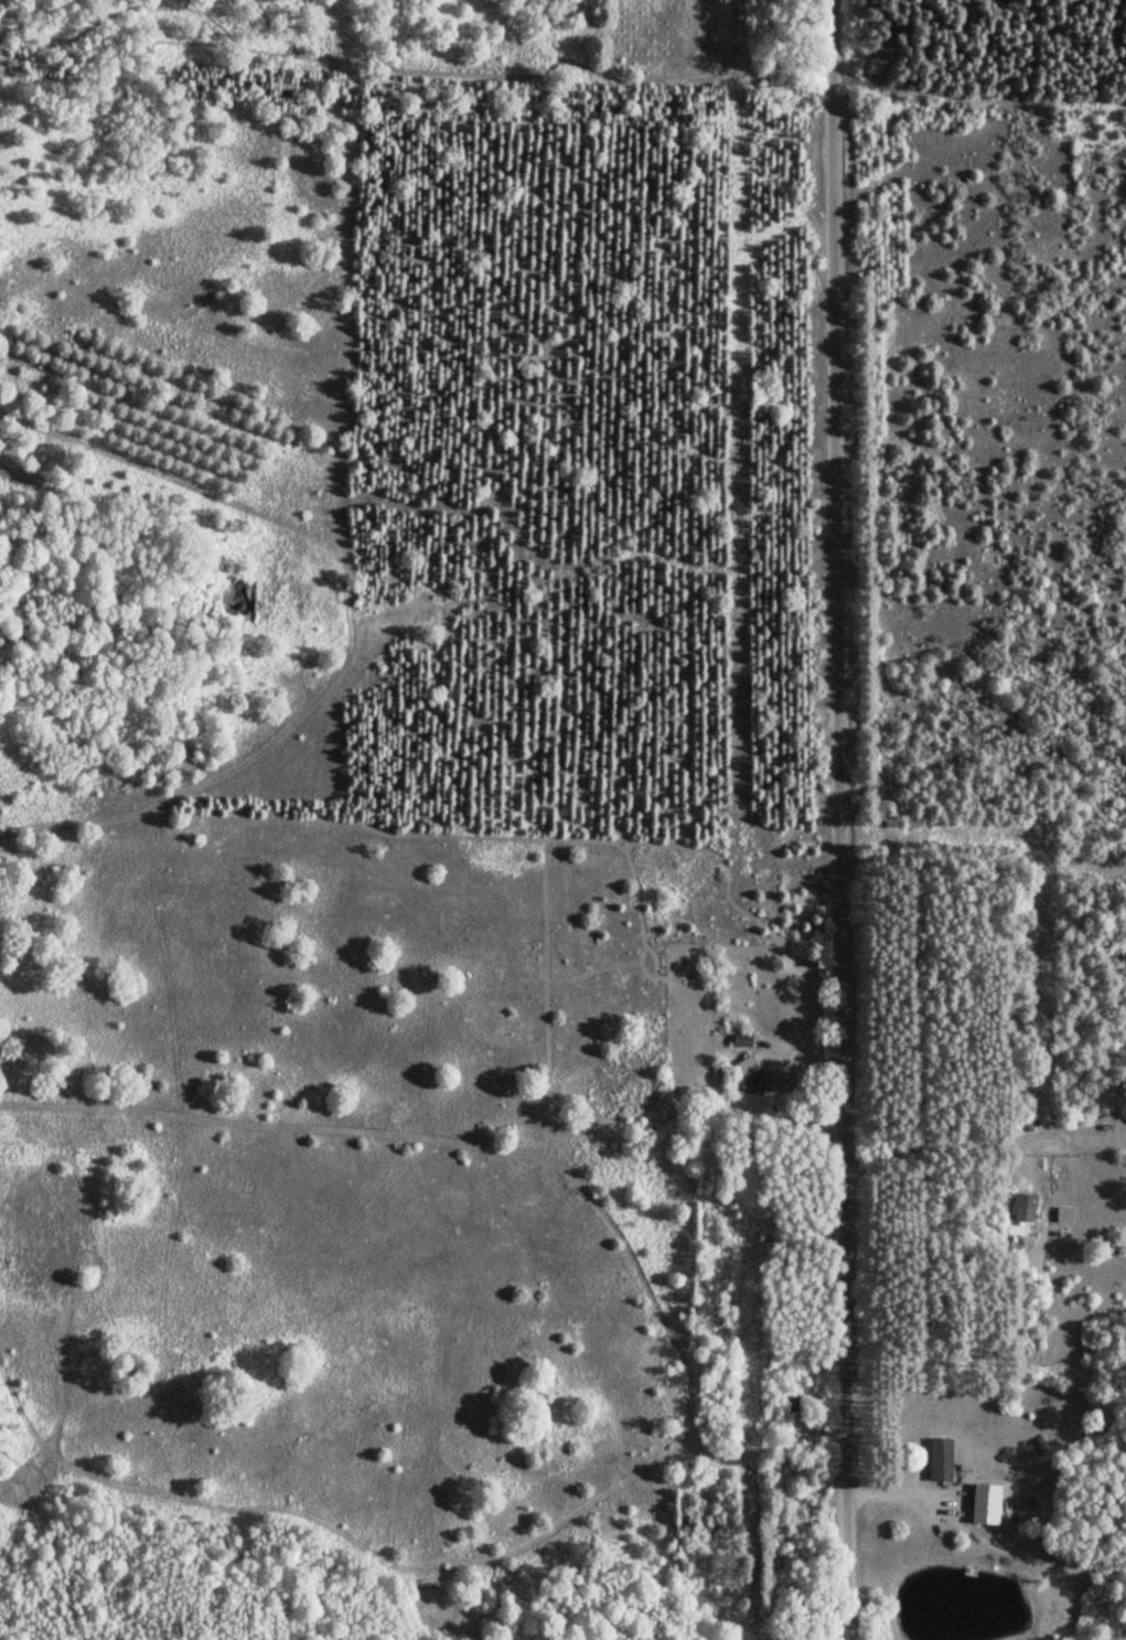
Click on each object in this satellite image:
road: (843, 819)
building: (738, 1040)
building: (746, 1064)
building: (1021, 1213)
building: (936, 1459)
building: (979, 1503)

